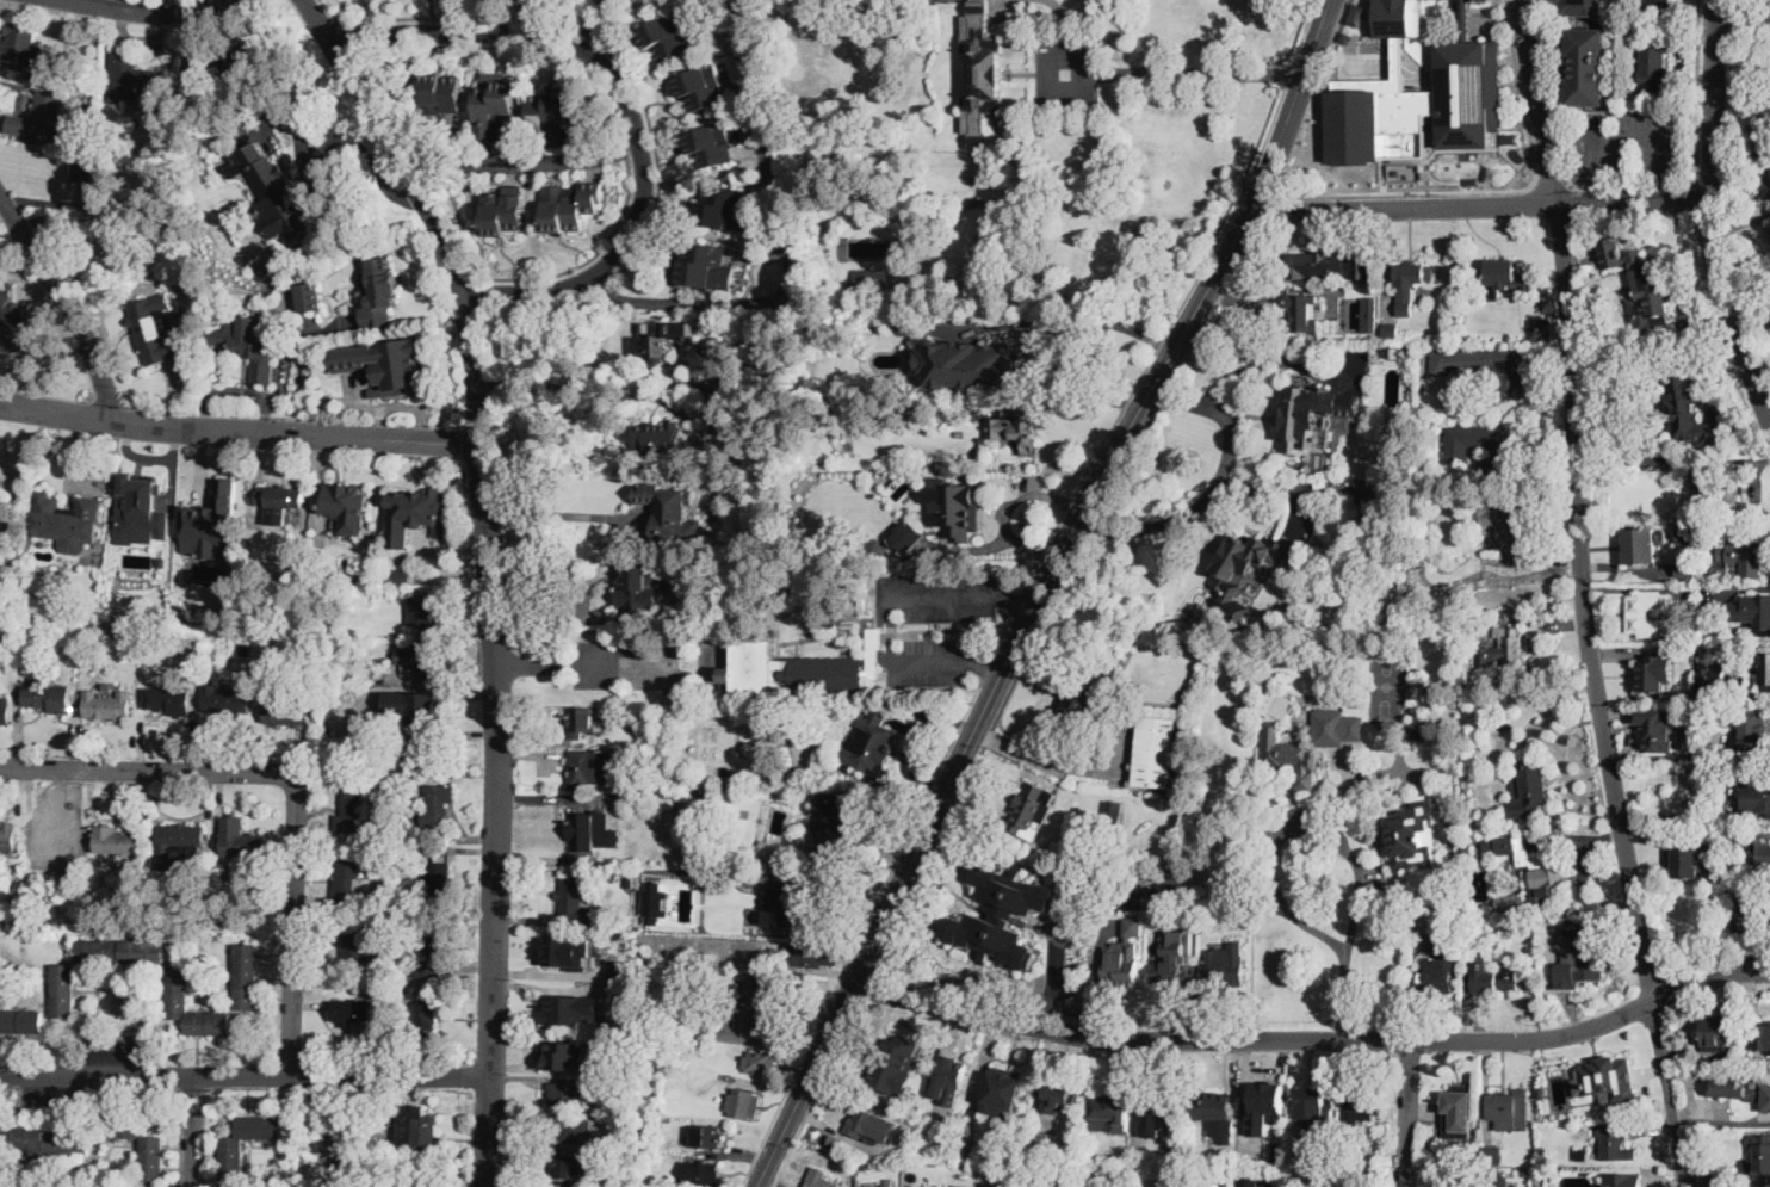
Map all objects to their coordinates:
road: (1759, 2)
building: (1584, 7)
building: (1658, 7)
road: (159, 8)
road: (1733, 12)
road: (1743, 12)
building: (1400, 18)
road: (586, 19)
road: (1751, 30)
road: (1337, 35)
building: (667, 36)
building: (25, 47)
building: (235, 57)
building: (1654, 61)
building: (1589, 67)
building: (982, 73)
road: (1175, 73)
building: (75, 84)
building: (136, 87)
building: (700, 87)
building: (1468, 91)
road: (1696, 91)
building: (439, 94)
road: (626, 100)
road: (1540, 103)
building: (494, 104)
road: (1293, 106)
building: (1765, 107)
building: (551, 116)
building: (33, 117)
building: (1378, 123)
road: (1302, 132)
road: (1630, 134)
road: (349, 137)
building: (101, 140)
building: (714, 143)
road: (559, 157)
parking lot: (1597, 157)
building: (91, 180)
building: (1766, 183)
road: (1713, 185)
road: (1633, 186)
road: (1552, 187)
road: (1669, 187)
building: (271, 188)
road: (1599, 188)
road: (1412, 192)
road: (1697, 199)
road: (1732, 202)
building: (570, 205)
road: (1481, 206)
building: (718, 208)
road: (1268, 209)
building: (502, 214)
road: (1715, 217)
building: (1769, 220)
road: (781, 242)
building: (118, 246)
building: (281, 260)
building: (1322, 265)
building: (704, 266)
building: (267, 271)
building: (1506, 278)
building: (871, 282)
building: (1410, 285)
building: (1648, 291)
building: (379, 292)
building: (272, 293)
building: (309, 296)
road: (1183, 299)
road: (63, 302)
building: (1302, 313)
building: (1369, 313)
road: (1083, 317)
building: (957, 320)
building: (14, 323)
building: (153, 330)
building: (1391, 330)
building: (1542, 330)
road: (1725, 339)
building: (247, 345)
building: (651, 346)
building: (755, 347)
building: (712, 348)
building: (1393, 352)
building: (1047, 357)
building: (972, 361)
road: (1270, 363)
building: (390, 364)
building: (1486, 367)
road: (1172, 378)
road: (633, 394)
building: (976, 403)
road: (1719, 403)
building: (831, 406)
building: (1689, 408)
building: (1434, 414)
building: (1313, 415)
building: (1016, 428)
road: (240, 431)
building: (661, 440)
building: (1478, 446)
road: (1667, 458)
road: (1269, 486)
road: (1753, 486)
road: (1213, 487)
building: (1727, 490)
road: (1029, 493)
building: (281, 502)
building: (1430, 503)
building: (345, 507)
building: (425, 508)
building: (953, 508)
building: (669, 511)
road: (564, 514)
building: (1499, 518)
building: (10, 520)
building: (68, 521)
building: (211, 521)
building: (146, 527)
building: (1688, 536)
building: (908, 537)
road: (994, 544)
building: (1641, 545)
building: (1240, 560)
building: (1740, 560)
building: (161, 561)
building: (354, 563)
building: (1687, 569)
road: (490, 571)
building: (402, 579)
building: (165, 585)
building: (637, 585)
building: (804, 589)
building: (1368, 589)
parking lot: (942, 594)
road: (1020, 599)
building: (1703, 610)
building: (14, 612)
building: (426, 612)
building: (1758, 613)
building: (1647, 614)
building: (1682, 614)
road: (890, 616)
building: (1434, 623)
building: (47, 626)
building: (12, 630)
building: (323, 632)
road: (1004, 632)
building: (245, 645)
building: (1504, 648)
building: (873, 651)
building: (423, 660)
parking lot: (625, 662)
parking lot: (930, 662)
road: (534, 663)
road: (621, 663)
road: (988, 667)
building: (1763, 668)
building: (787, 669)
building: (1652, 673)
building: (1708, 676)
road: (997, 680)
building: (49, 694)
road: (1597, 698)
building: (168, 699)
building: (227, 699)
building: (106, 705)
building: (1119, 705)
building: (431, 707)
building: (5, 710)
building: (1084, 710)
building: (286, 711)
building: (582, 722)
building: (360, 725)
building: (1325, 725)
building: (1657, 729)
building: (1753, 730)
building: (1270, 734)
building: (1419, 734)
building: (365, 735)
building: (868, 743)
road: (978, 752)
building: (1156, 752)
building: (429, 755)
road: (1051, 761)
building: (592, 766)
building: (711, 768)
road: (295, 777)
building: (793, 779)
building: (635, 783)
building: (1114, 784)
building: (1530, 787)
building: (1756, 798)
building: (830, 800)
building: (668, 803)
building: (1031, 806)
building: (438, 808)
building: (351, 811)
building: (384, 812)
building: (1113, 812)
building: (385, 826)
building: (1413, 834)
building: (590, 835)
building: (833, 835)
building: (1471, 836)
building: (7, 837)
building: (241, 839)
building: (116, 840)
building: (56, 841)
building: (180, 841)
building: (1502, 845)
building: (1468, 847)
building: (1766, 851)
building: (770, 852)
building: (1688, 860)
building: (375, 871)
building: (1546, 873)
road: (1275, 874)
building: (438, 878)
building: (349, 882)
building: (1165, 884)
building: (1484, 885)
road: (1356, 898)
building: (407, 901)
building: (654, 902)
building: (1511, 902)
building: (575, 905)
building: (786, 905)
building: (1001, 915)
building: (1765, 915)
road: (1069, 916)
building: (384, 917)
building: (1205, 920)
building: (1740, 922)
building: (1419, 926)
road: (859, 933)
building: (357, 944)
building: (119, 950)
building: (568, 951)
building: (427, 953)
building: (811, 954)
building: (1580, 959)
building: (1122, 966)
building: (1227, 966)
building: (619, 969)
building: (1170, 973)
building: (245, 975)
building: (1490, 975)
building: (1434, 982)
road: (868, 987)
building: (177, 988)
building: (62, 989)
building: (570, 1008)
building: (749, 1008)
building: (353, 1010)
building: (426, 1016)
building: (20, 1020)
building: (1719, 1032)
building: (1763, 1035)
road: (1314, 1040)
building: (620, 1046)
building: (569, 1056)
building: (1701, 1058)
building: (759, 1063)
building: (887, 1070)
building: (949, 1070)
road: (243, 1075)
building: (619, 1078)
building: (1607, 1080)
building: (1005, 1083)
building: (1740, 1089)
building: (1059, 1090)
building: (1541, 1092)
road: (816, 1093)
building: (568, 1094)
building: (1310, 1100)
building: (743, 1103)
building: (1362, 1105)
building: (1109, 1106)
building: (1213, 1107)
building: (1263, 1107)
building: (1510, 1109)
building: (1162, 1111)
building: (1458, 1112)
road: (1409, 1114)
building: (1723, 1114)
building: (869, 1125)
road: (193, 1131)
building: (417, 1131)
building: (573, 1131)
building: (1280, 1131)
building: (706, 1136)
building: (44, 1140)
building: (617, 1144)
building: (1615, 1144)
building: (1762, 1154)
building: (1492, 1155)
building: (1582, 1155)
building: (151, 1156)
building: (231, 1162)
building: (1710, 1166)
building: (567, 1167)
building: (620, 1167)
building: (700, 1171)
building: (1525, 1173)
road: (762, 1174)
building: (1033, 1174)
building: (618, 1176)
building: (819, 1179)
building: (1723, 1179)
building: (1491, 1180)
building: (1621, 1180)
building: (423, 1182)
building: (1246, 1182)
building: (1262, 1185)
building: (879, 1186)
building: (1280, 1186)

